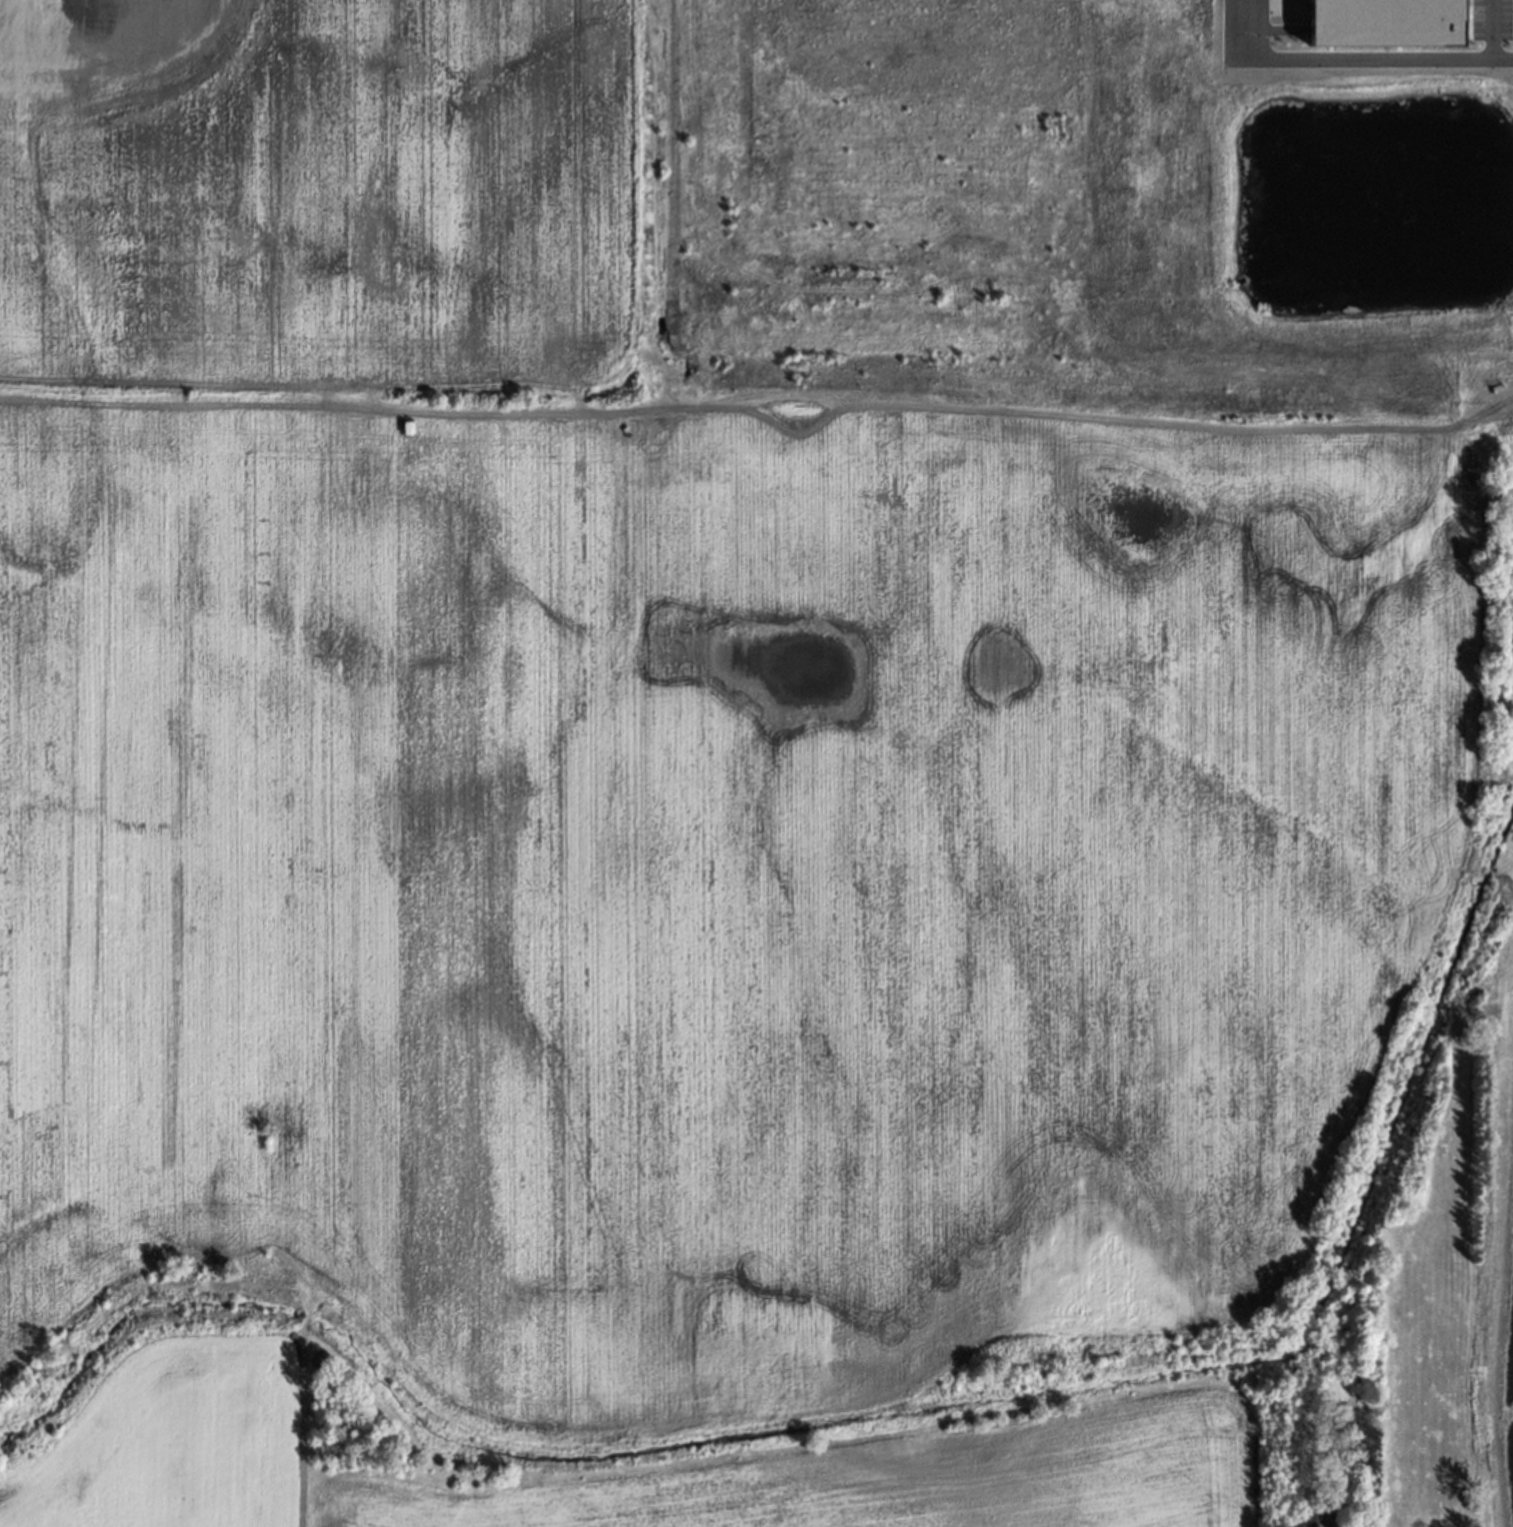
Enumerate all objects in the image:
building: (1386, 22)
road: (1491, 29)
road: (1352, 59)
building: (1313, 1518)

